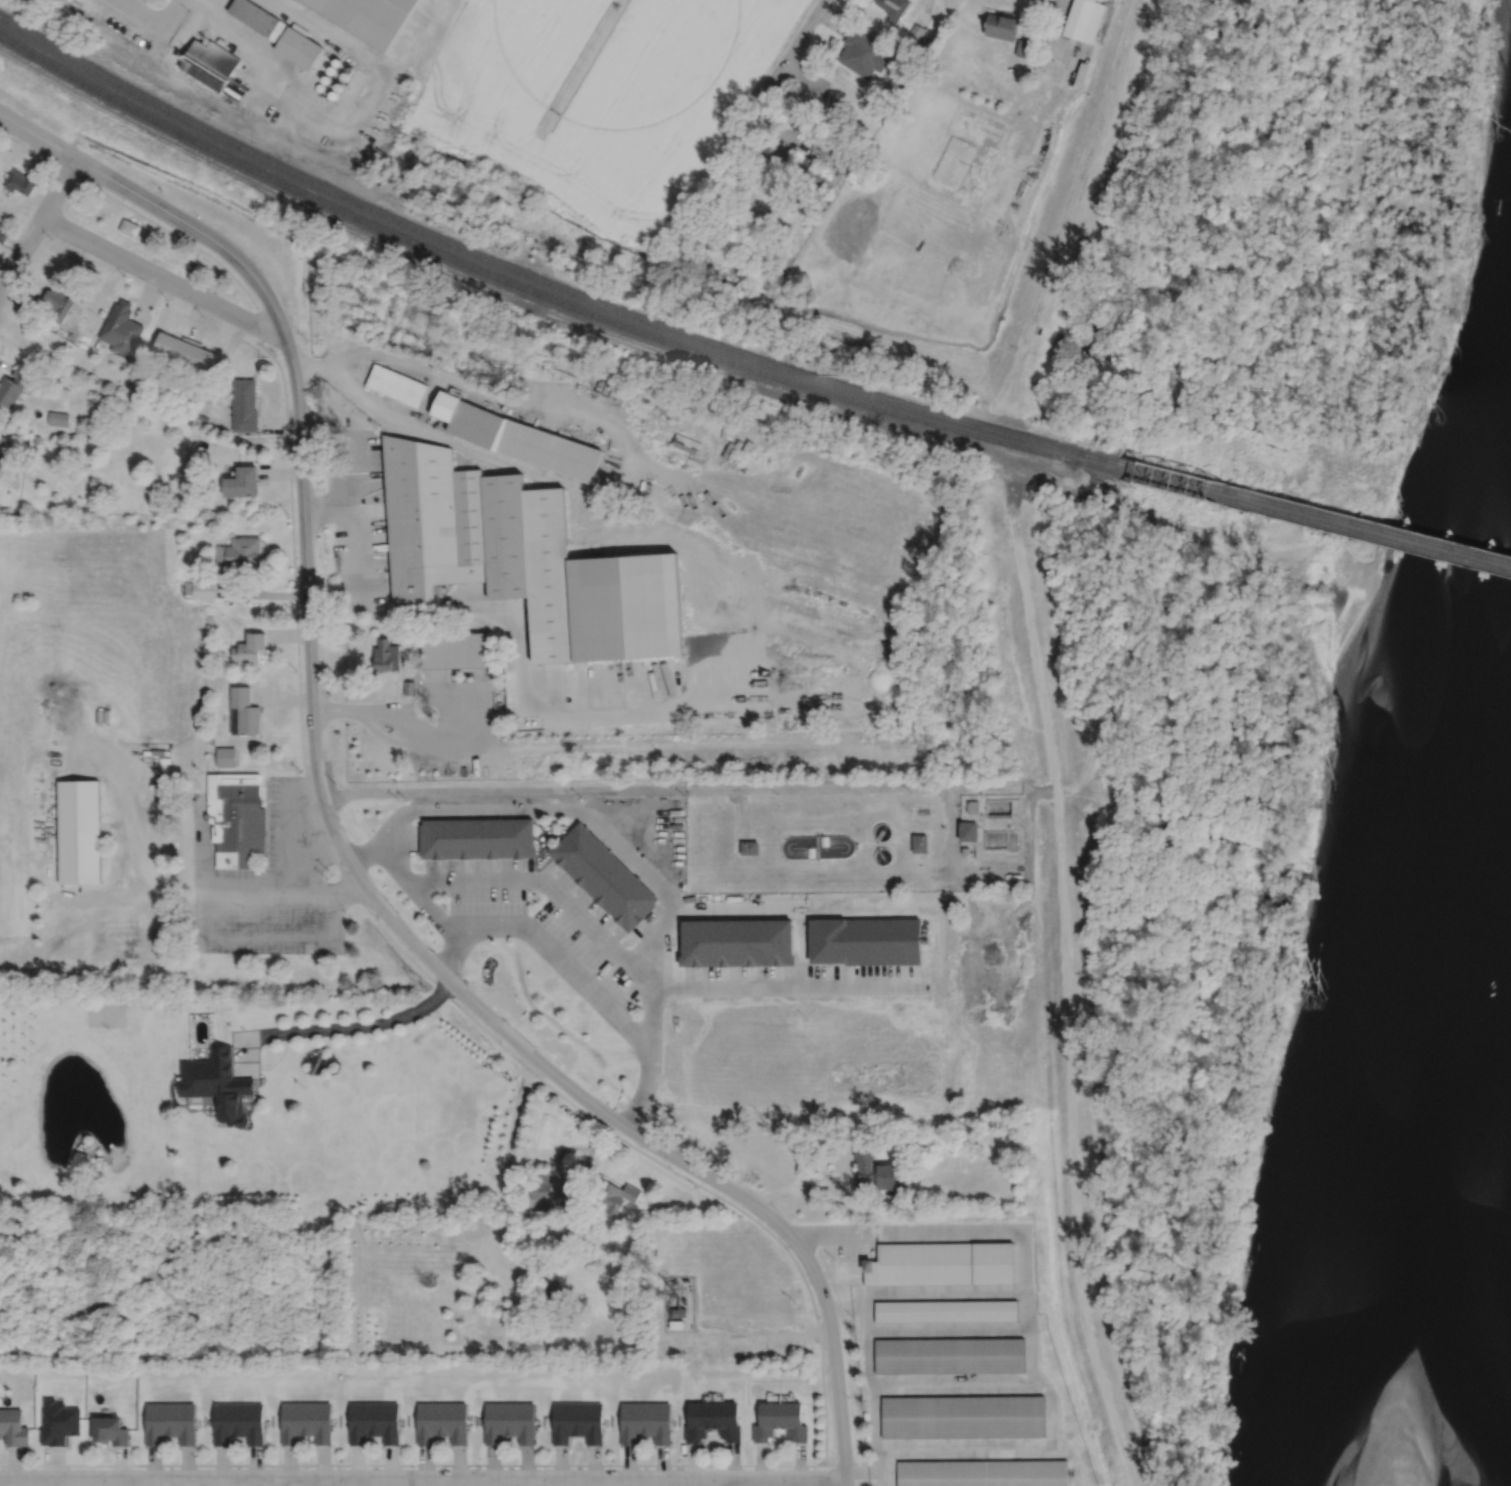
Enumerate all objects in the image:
building: (894, 9)
road: (137, 11)
road: (171, 12)
building: (369, 17)
building: (259, 18)
building: (1084, 19)
building: (1001, 26)
building: (916, 34)
building: (299, 46)
building: (1025, 48)
road: (792, 49)
building: (863, 52)
building: (336, 61)
building: (210, 63)
building: (331, 69)
building: (350, 69)
building: (344, 76)
building: (325, 79)
building: (319, 86)
building: (338, 86)
railway: (203, 88)
building: (232, 91)
building: (888, 91)
building: (333, 94)
crop: (600, 94)
building: (831, 100)
road: (344, 129)
building: (364, 143)
building: (852, 149)
building: (811, 171)
building: (21, 182)
road: (154, 204)
road: (38, 221)
building: (5, 227)
building: (129, 228)
building: (3, 234)
road: (8, 252)
road: (159, 276)
railway: (540, 281)
railway: (540, 294)
building: (330, 299)
building: (57, 305)
building: (121, 330)
building: (174, 347)
building: (203, 359)
building: (12, 386)
building: (396, 386)
road: (426, 399)
building: (245, 405)
building: (191, 407)
building: (57, 416)
building: (202, 416)
building: (516, 436)
building: (2, 437)
building: (36, 437)
building: (2, 457)
road: (342, 461)
building: (242, 479)
road: (359, 479)
road: (628, 485)
building: (169, 505)
railway: (1313, 510)
railway: (1312, 518)
building: (240, 552)
road: (350, 552)
building: (524, 557)
building: (200, 575)
building: (200, 588)
building: (209, 617)
building: (251, 647)
building: (455, 649)
building: (387, 653)
building: (409, 686)
road: (527, 696)
building: (244, 711)
road: (386, 737)
road: (530, 745)
building: (226, 756)
road: (670, 787)
building: (236, 818)
building: (996, 824)
building: (78, 831)
building: (969, 831)
road: (322, 834)
wastewater plant: (855, 835)
parking lot: (413, 838)
building: (477, 838)
road: (200, 841)
building: (919, 843)
building: (750, 847)
building: (965, 850)
road: (285, 859)
road: (951, 860)
building: (604, 876)
parking lot: (273, 889)
road: (670, 906)
road: (432, 910)
parking lot: (552, 923)
road: (224, 933)
building: (866, 941)
building: (738, 943)
road: (549, 948)
road: (446, 974)
parking lot: (792, 980)
road: (789, 986)
road: (348, 1026)
building: (200, 1035)
river: (1426, 1041)
road: (650, 1046)
building: (218, 1082)
fountain: (84, 1097)
building: (903, 1137)
building: (875, 1167)
road: (814, 1187)
road: (572, 1188)
road: (505, 1189)
building: (541, 1189)
building: (613, 1193)
building: (77, 1223)
road: (937, 1232)
parking lot: (855, 1249)
building: (942, 1262)
building: (585, 1291)
building: (555, 1292)
building: (947, 1310)
building: (679, 1311)
road: (868, 1311)
building: (677, 1324)
road: (763, 1335)
building: (950, 1354)
road: (954, 1384)
road: (1046, 1390)
building: (964, 1416)
building: (728, 1420)
building: (294, 1421)
building: (590, 1421)
building: (699, 1421)
building: (767, 1421)
building: (794, 1421)
building: (158, 1422)
building: (252, 1422)
building: (321, 1422)
building: (362, 1422)
building: (389, 1422)
building: (430, 1422)
building: (454, 1422)
building: (496, 1422)
building: (522, 1422)
building: (564, 1422)
building: (633, 1422)
building: (659, 1422)
building: (185, 1423)
building: (226, 1423)
building: (13, 1427)
building: (112, 1431)
road: (967, 1447)
road: (18, 1464)
road: (457, 1464)
building: (983, 1473)
road: (136, 1478)
road: (559, 1478)
road: (864, 1478)
road: (272, 1482)
road: (713, 1482)

